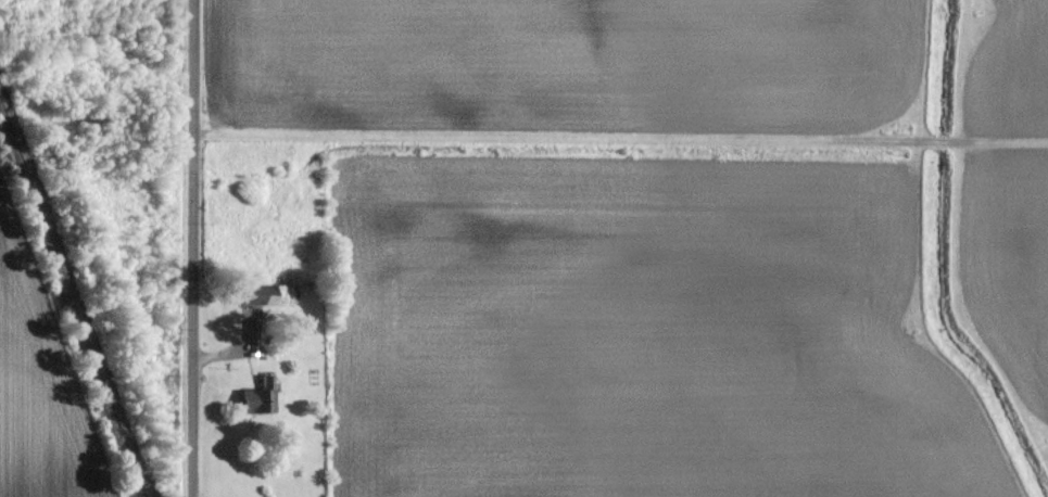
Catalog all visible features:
road: (193, 248)
railway: (74, 291)
building: (272, 294)
building: (263, 397)

